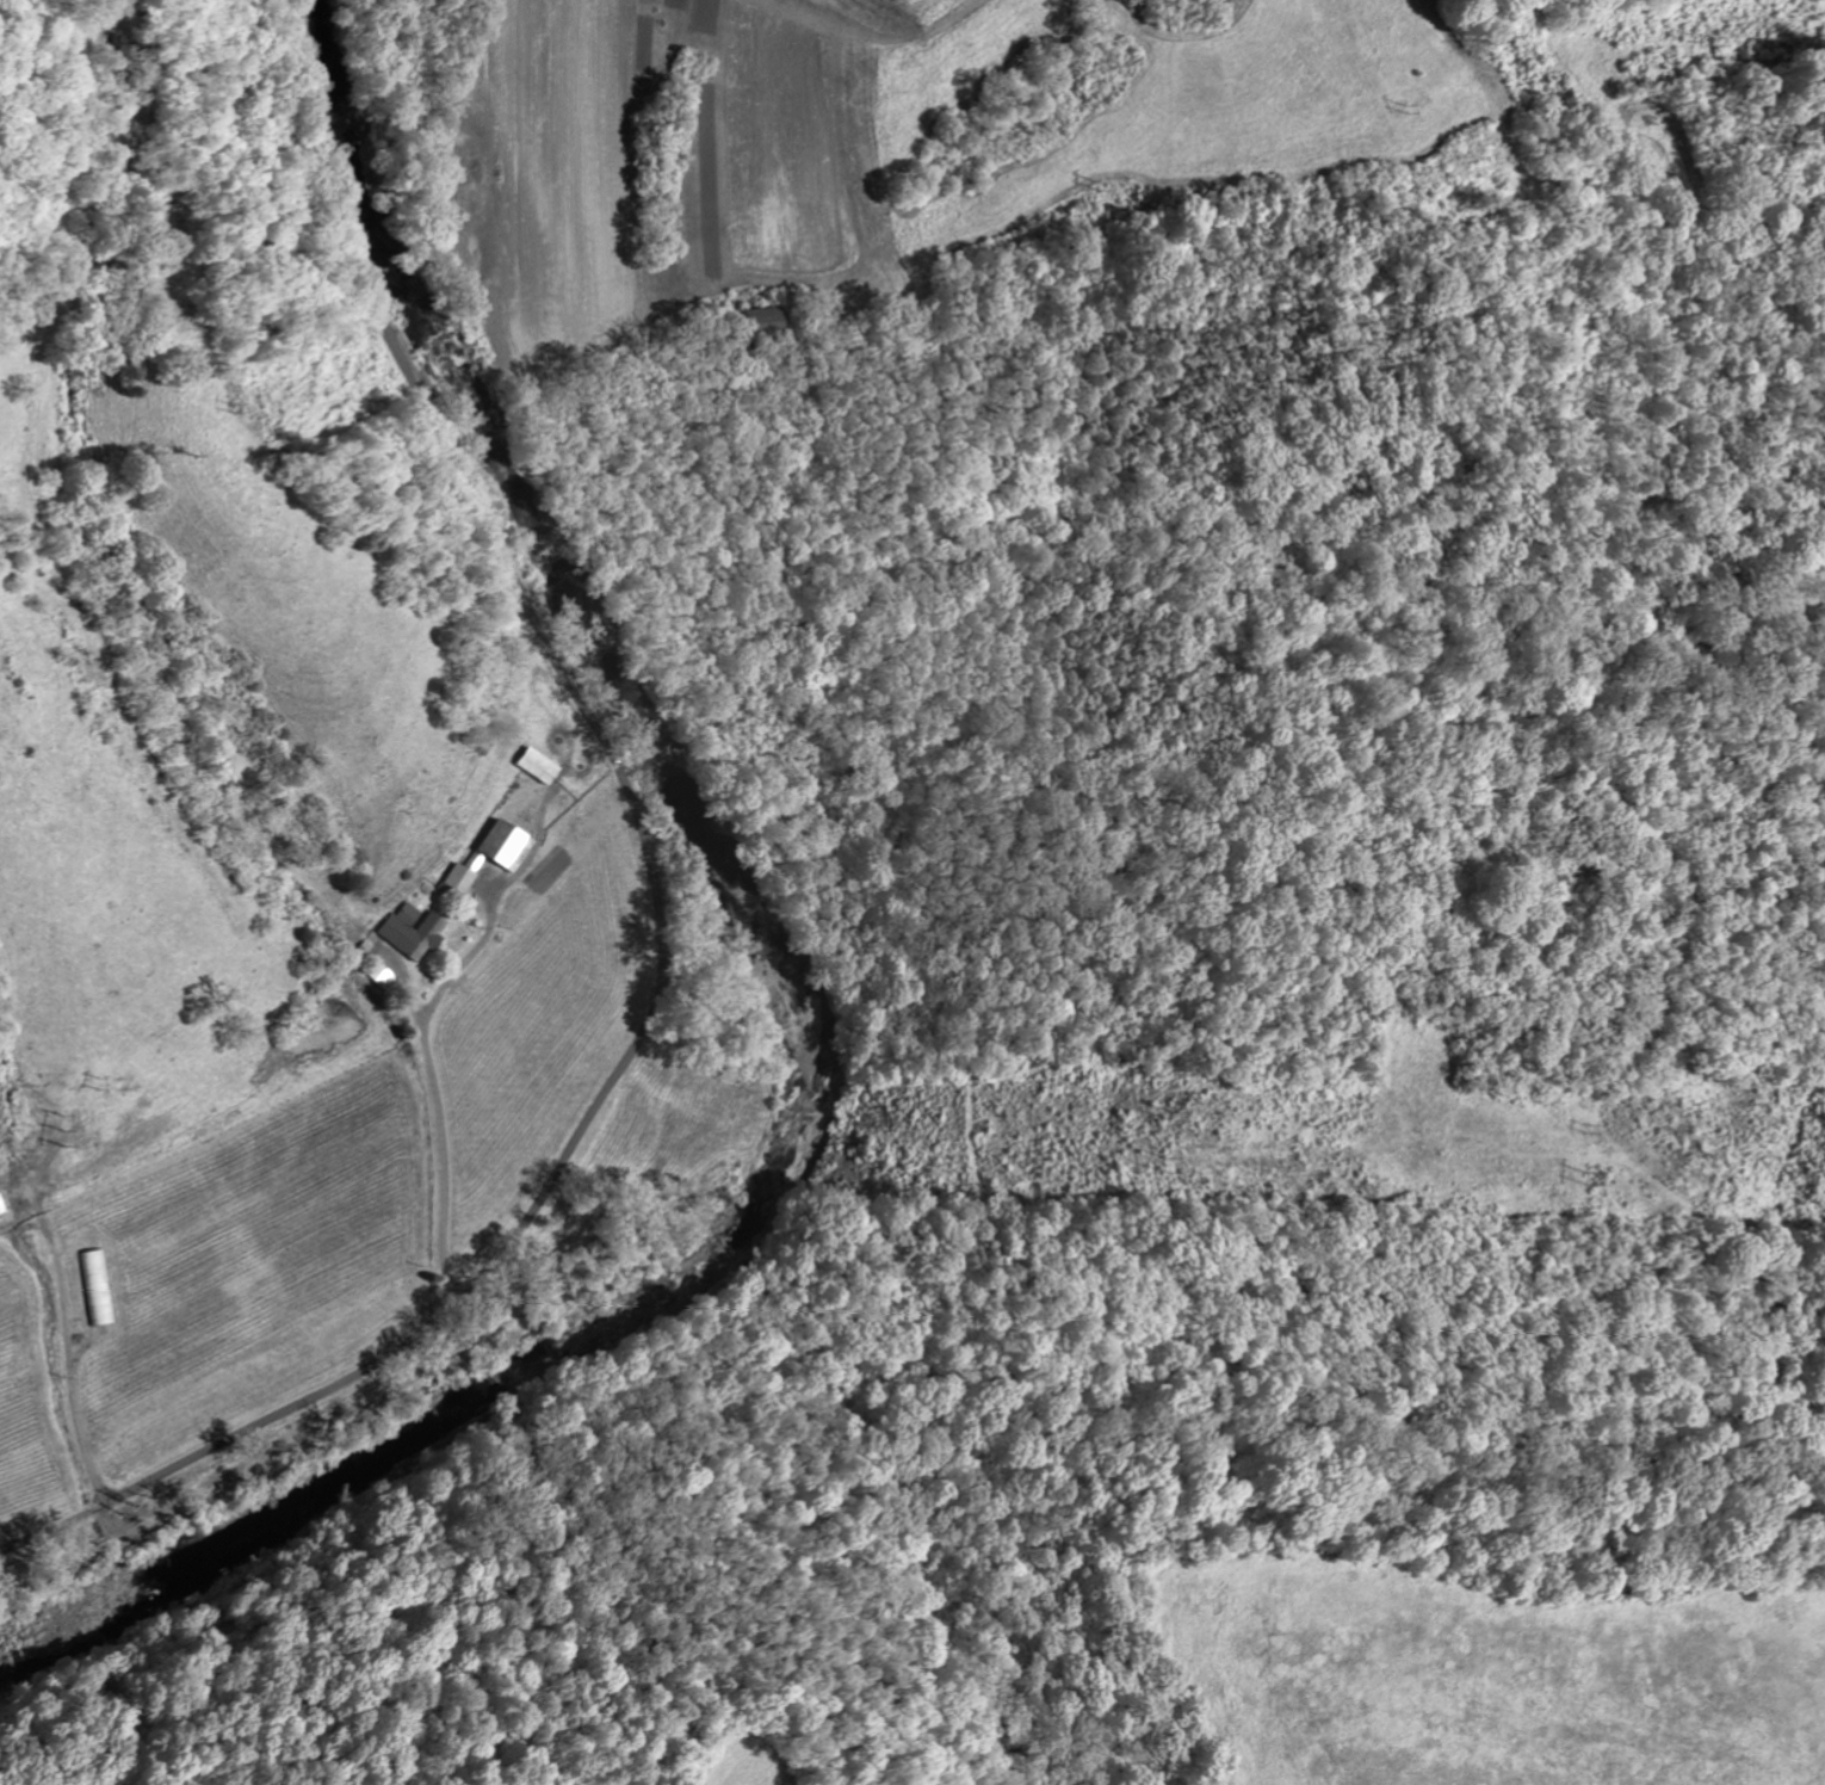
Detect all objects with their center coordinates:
power tower: (1694, 36)
power tower: (1405, 107)
power tower: (1099, 185)
building: (766, 323)
building: (538, 766)
building: (494, 854)
road: (658, 906)
building: (414, 931)
road: (464, 965)
power tower: (94, 1080)
power tower: (1176, 1111)
power tower: (62, 1126)
power tower: (1585, 1126)
road: (440, 1135)
power tower: (1165, 1161)
power tower: (1584, 1175)
building: (2, 1206)
building: (98, 1287)
road: (72, 1369)

